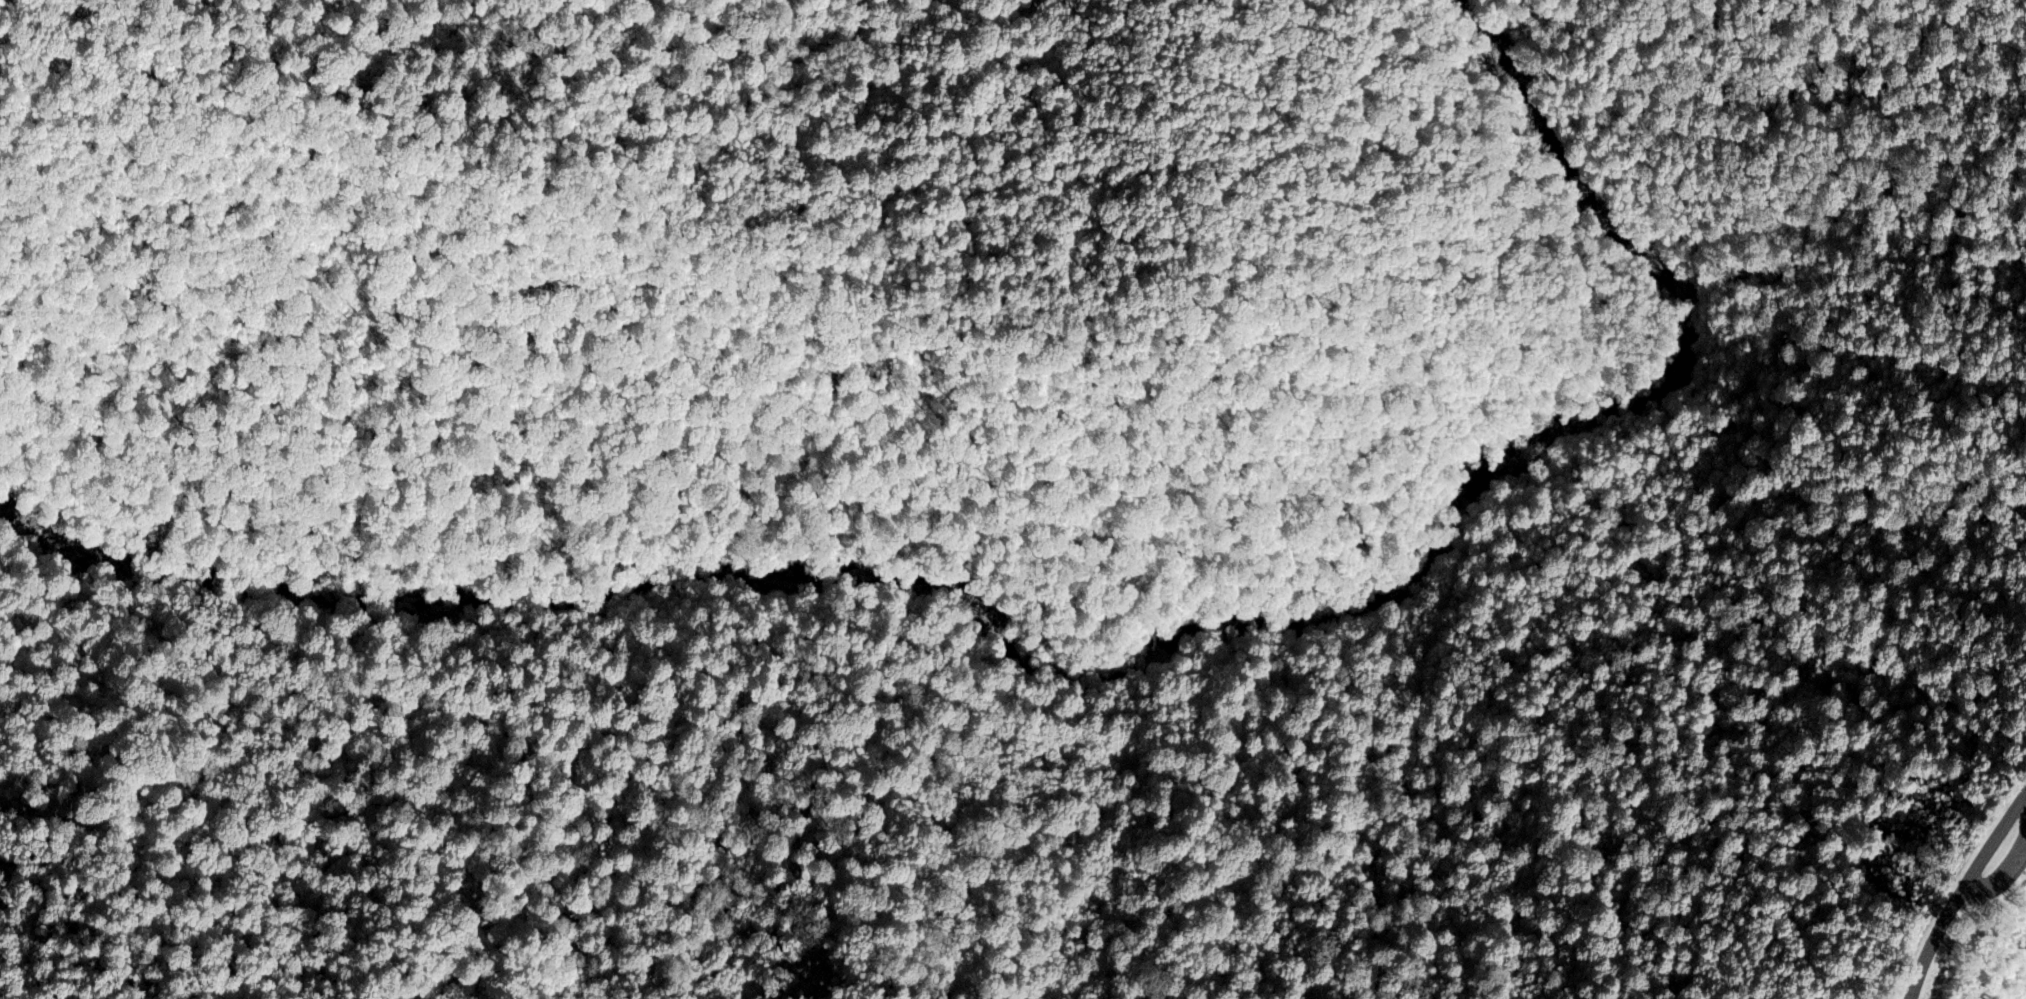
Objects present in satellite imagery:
river: (1094, 670)
road: (1087, 723)
road: (2023, 804)
road: (2002, 872)
road: (1960, 890)

